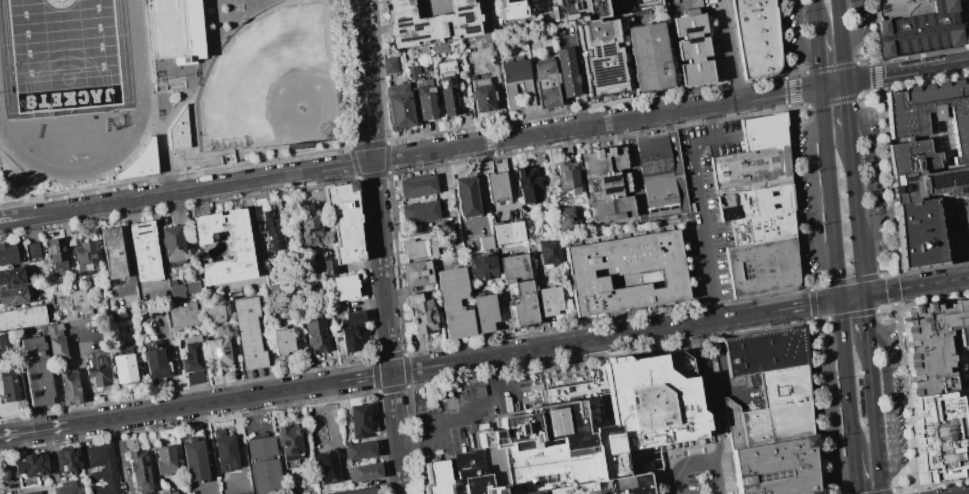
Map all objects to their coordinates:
building: (631, 4)
rooftop solar panel: (463, 8)
building: (901, 8)
rooftop solar panel: (456, 9)
building: (509, 9)
rooftop solar panel: (457, 15)
road: (814, 15)
rooftop solar panel: (464, 17)
parking lot: (964, 18)
rooftop solar panel: (401, 19)
rooftop solar panel: (402, 24)
building: (432, 24)
road: (857, 25)
rooftop solar panel: (416, 26)
building: (174, 28)
rooftop solar panel: (468, 29)
rooftop solar panel: (689, 29)
rooftop solar panel: (399, 30)
road: (801, 30)
building: (921, 30)
road: (875, 32)
rooftop solar panel: (411, 38)
building: (756, 38)
rooftop solar panel: (691, 39)
road: (784, 40)
road: (841, 40)
building: (593, 44)
building: (441, 48)
rooftop solar panel: (605, 50)
building: (692, 50)
building: (423, 51)
rooftop solar panel: (594, 51)
park: (63, 53)
building: (648, 57)
road: (818, 58)
road: (865, 61)
building: (390, 65)
road: (832, 66)
building: (426, 67)
road: (922, 69)
road: (874, 71)
road: (799, 72)
building: (413, 73)
building: (566, 73)
rooftop solar panel: (603, 75)
track: (140, 77)
road: (363, 80)
stadium: (85, 81)
rooftop solar panel: (451, 81)
park: (272, 82)
building: (517, 82)
traffic signals: (845, 82)
road: (875, 83)
rooftop solar panel: (442, 84)
building: (546, 84)
road: (833, 84)
road: (792, 86)
building: (447, 87)
traffic signals: (821, 87)
building: (482, 92)
road: (866, 94)
road: (793, 98)
building: (427, 101)
road: (832, 101)
building: (400, 106)
road: (802, 107)
road: (847, 112)
road: (582, 126)
building: (928, 126)
building: (177, 131)
building: (763, 131)
rooftop solar panel: (771, 160)
building: (141, 163)
rooftop solar panel: (757, 164)
building: (748, 166)
road: (871, 172)
building: (655, 175)
rooftop solar panel: (757, 175)
rooftop solar panel: (772, 175)
rooftop solar panel: (957, 177)
building: (568, 178)
rooftop solar panel: (606, 180)
building: (496, 181)
rooftop solar panel: (906, 181)
rooftop solar panel: (939, 181)
road: (889, 182)
building: (930, 184)
building: (528, 185)
building: (606, 185)
building: (417, 186)
building: (751, 186)
road: (191, 189)
rooftop solar panel: (609, 191)
rooftop solar panel: (964, 192)
road: (483, 193)
road: (816, 193)
road: (830, 193)
rooftop solar panel: (773, 194)
building: (466, 196)
road: (795, 198)
building: (753, 202)
rooftop solar panel: (776, 206)
road: (702, 210)
parking lot: (706, 210)
building: (419, 213)
building: (565, 218)
road: (857, 218)
road: (6, 219)
building: (345, 223)
building: (761, 227)
parking lot: (958, 229)
building: (271, 230)
rooftop solar panel: (311, 230)
building: (315, 230)
building: (508, 232)
building: (917, 235)
road: (964, 238)
building: (279, 240)
building: (486, 242)
building: (180, 247)
building: (419, 248)
building: (247, 249)
building: (32, 251)
building: (550, 252)
building: (39, 254)
building: (150, 255)
building: (61, 257)
building: (119, 257)
building: (10, 259)
building: (90, 261)
road: (382, 266)
building: (761, 266)
building: (328, 267)
building: (482, 267)
building: (624, 272)
building: (417, 273)
road: (884, 274)
building: (272, 277)
road: (850, 279)
building: (17, 281)
road: (893, 283)
road: (931, 284)
road: (817, 285)
building: (191, 287)
building: (197, 290)
building: (519, 290)
building: (176, 291)
building: (351, 291)
building: (181, 294)
road: (866, 294)
traffic signals: (864, 295)
road: (894, 296)
road: (811, 297)
building: (83, 298)
building: (18, 299)
building: (549, 300)
traffic signals: (840, 300)
building: (454, 302)
road: (826, 302)
road: (885, 309)
road: (812, 310)
building: (485, 312)
building: (421, 313)
building: (213, 314)
road: (851, 314)
building: (187, 317)
building: (73, 319)
road: (822, 320)
road: (865, 320)
building: (25, 321)
road: (891, 326)
building: (356, 333)
building: (55, 334)
building: (253, 337)
road: (602, 338)
building: (321, 339)
building: (7, 342)
building: (289, 345)
building: (937, 347)
building: (764, 350)
building: (63, 351)
building: (224, 356)
building: (191, 357)
rooftop solar panel: (28, 364)
building: (123, 365)
building: (162, 369)
building: (40, 371)
building: (131, 374)
road: (845, 376)
rooftop solar panel: (33, 377)
building: (103, 382)
building: (77, 388)
building: (13, 389)
road: (709, 394)
rooftop solar panel: (36, 395)
road: (908, 397)
road: (229, 398)
road: (891, 402)
rooftop solar panel: (629, 404)
road: (815, 405)
building: (772, 409)
road: (835, 411)
road: (462, 414)
road: (874, 419)
building: (620, 421)
building: (364, 426)
rooftop solar panel: (661, 426)
building: (319, 429)
road: (34, 431)
road: (331, 432)
road: (397, 433)
building: (941, 434)
building: (295, 448)
building: (265, 451)
building: (363, 455)
building: (230, 458)
building: (164, 459)
building: (71, 461)
road: (700, 464)
building: (171, 465)
building: (200, 465)
building: (36, 467)
building: (776, 467)
building: (106, 469)
building: (363, 472)
road: (855, 472)
building: (147, 474)
road: (677, 476)
building: (373, 477)
building: (468, 477)
building: (270, 479)
road: (714, 479)
building: (65, 488)
road: (901, 489)
building: (361, 491)
building: (28, 492)
road: (883, 492)
building: (246, 493)
road: (911, 493)

